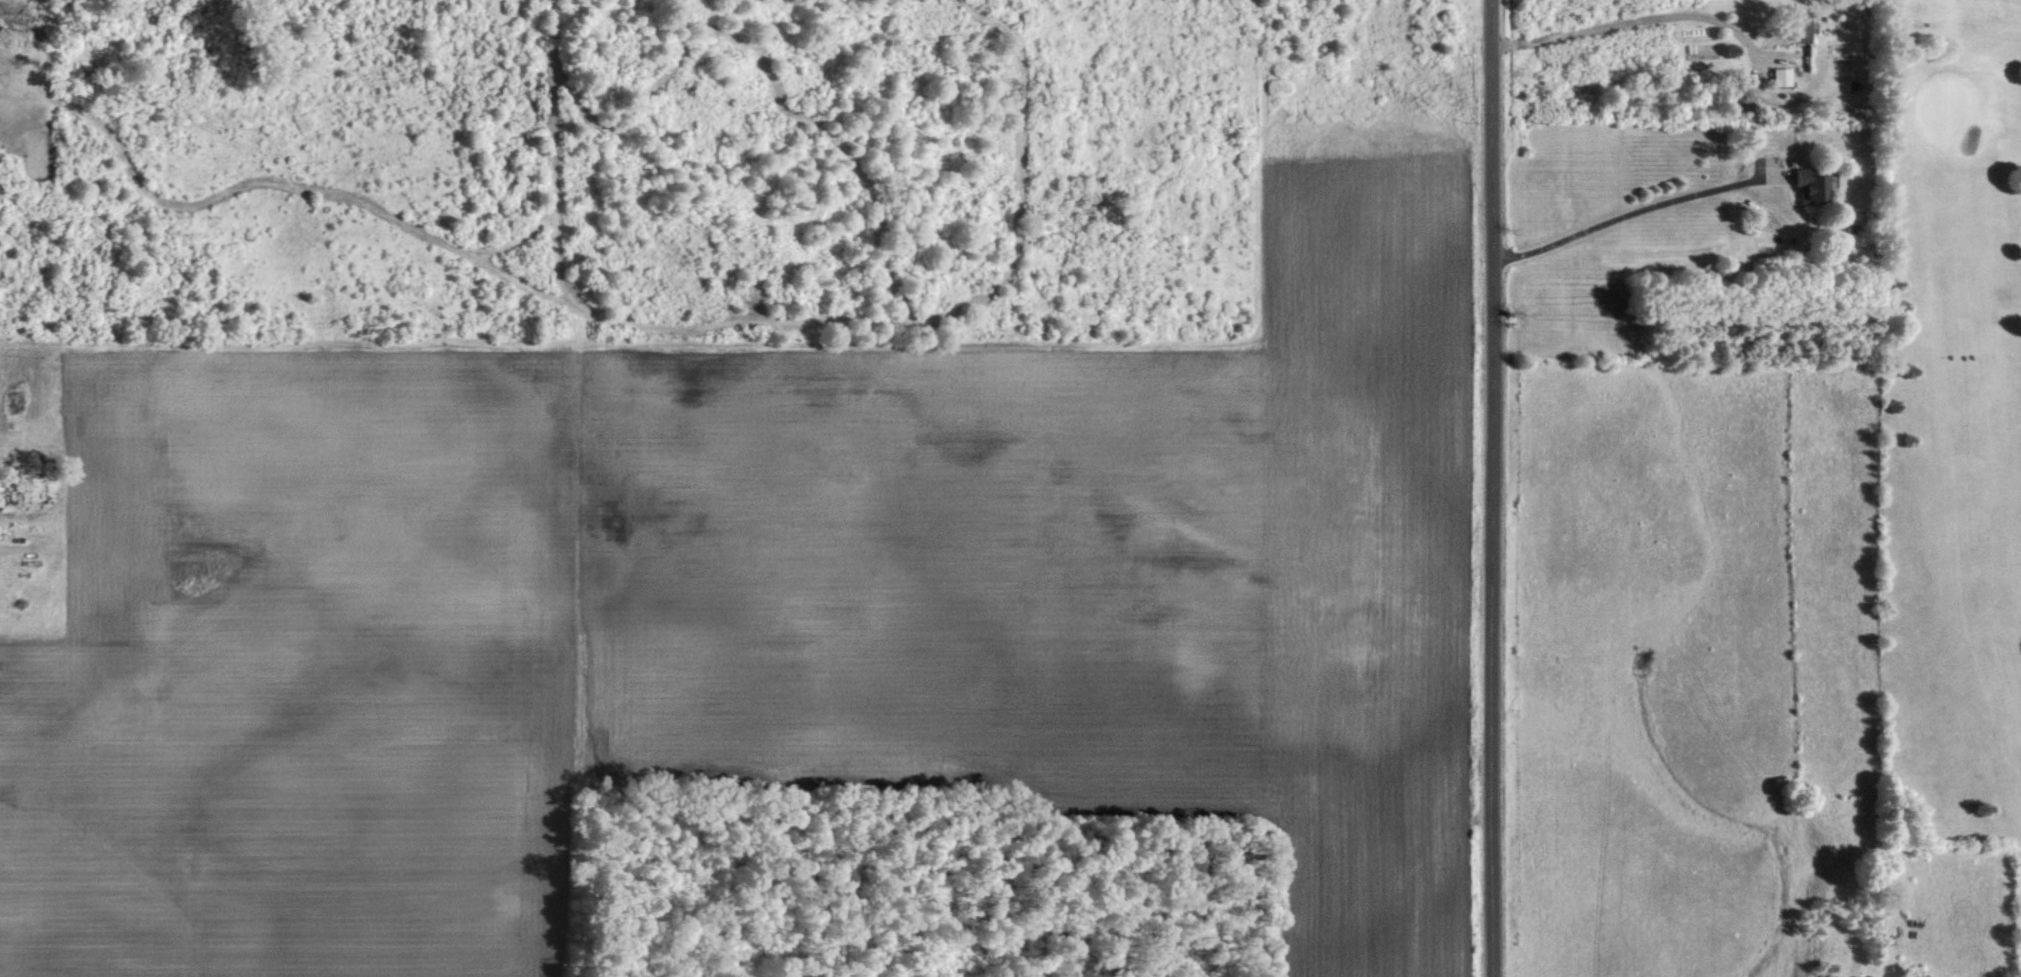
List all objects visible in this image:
road: (1628, 19)
building: (1799, 27)
building: (1782, 76)
building: (1806, 185)
road: (1627, 213)
park: (1951, 425)
road: (1497, 488)

